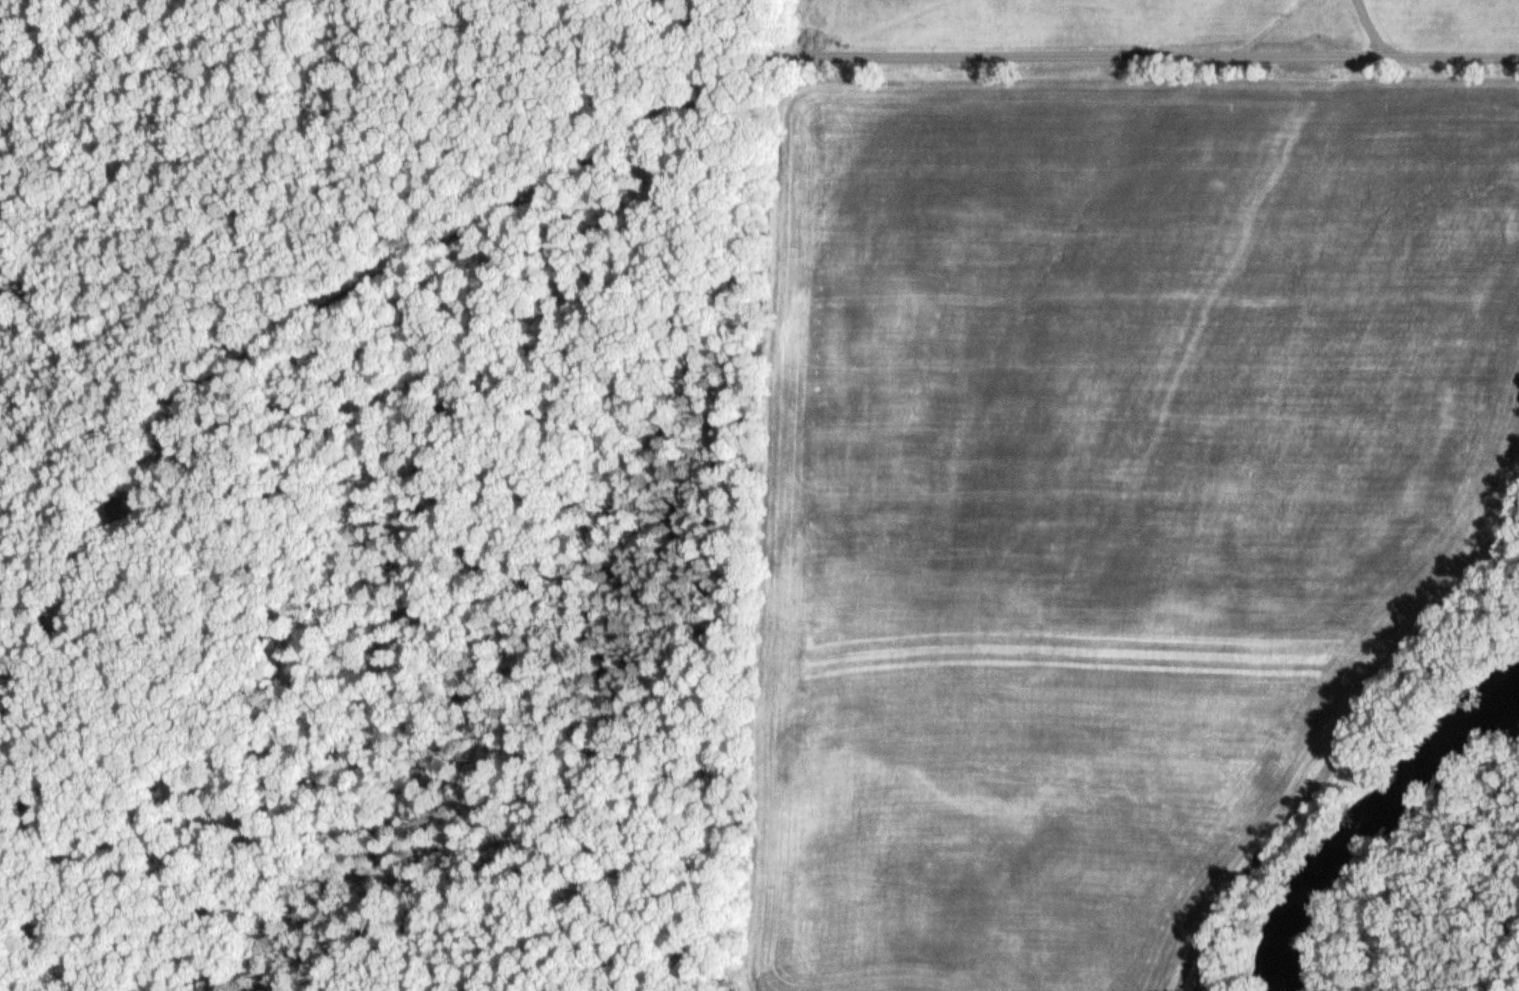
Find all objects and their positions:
road: (626, 143)
road: (132, 320)
river: (1363, 824)

